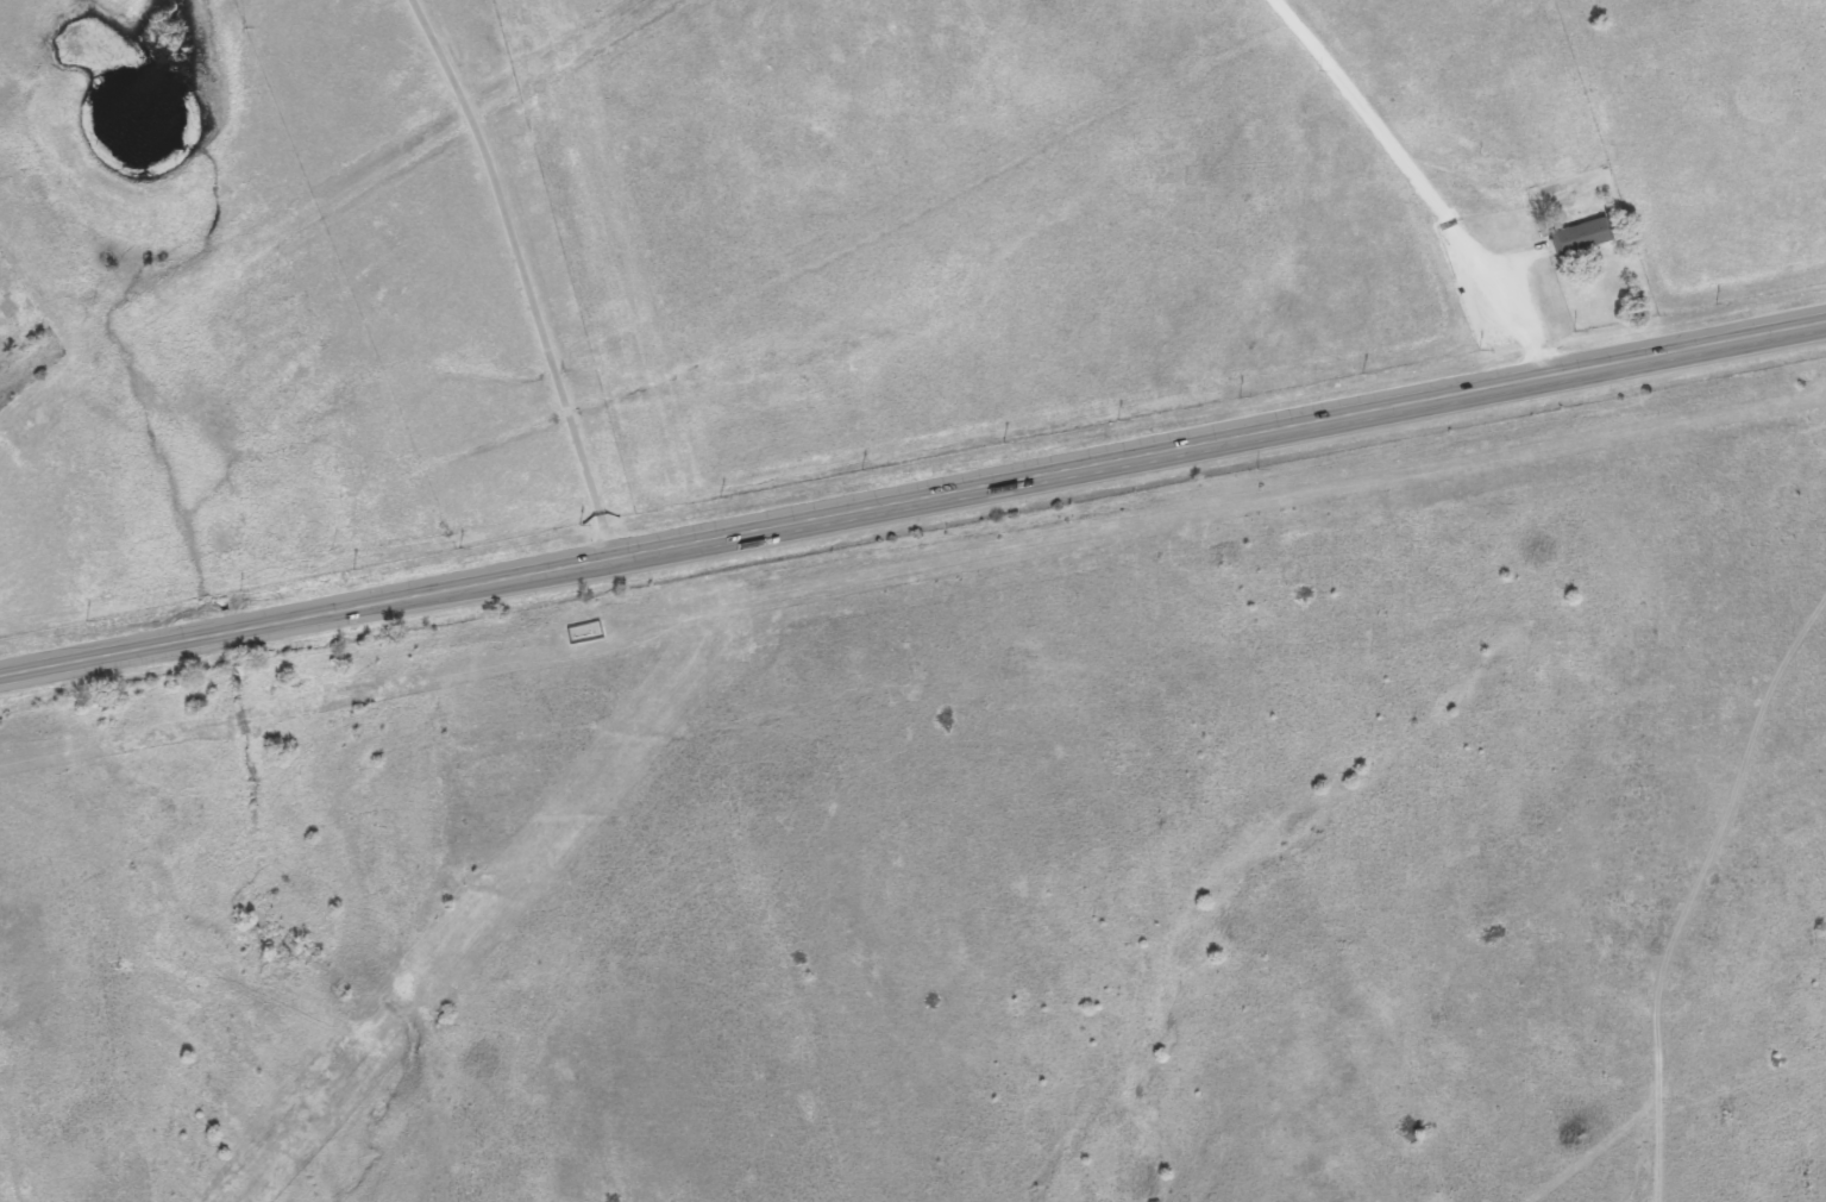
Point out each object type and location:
road: (1426, 187)
building: (1582, 236)
road: (519, 276)
road: (912, 505)
road: (1799, 632)
road: (1680, 931)

